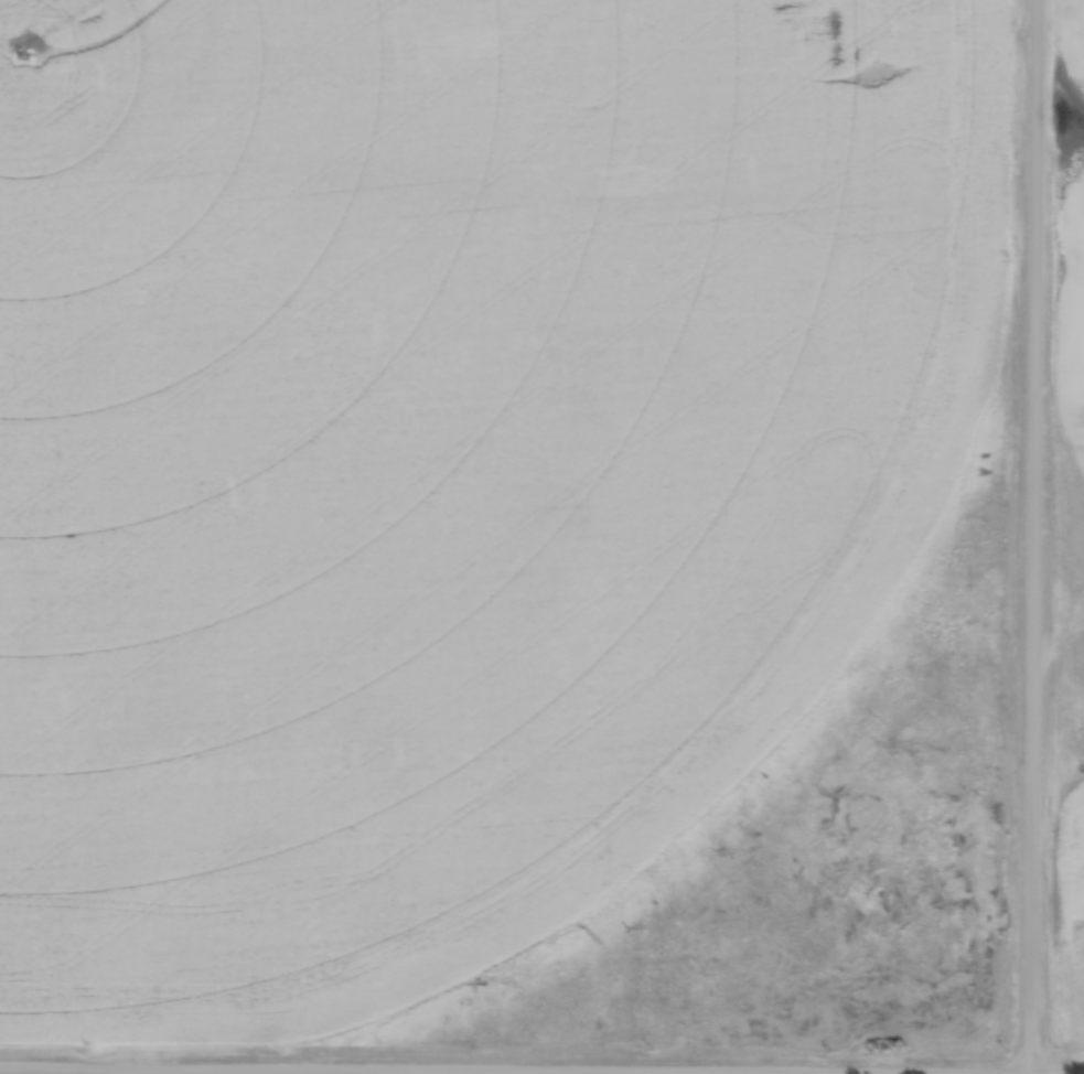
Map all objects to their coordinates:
road: (1031, 536)

